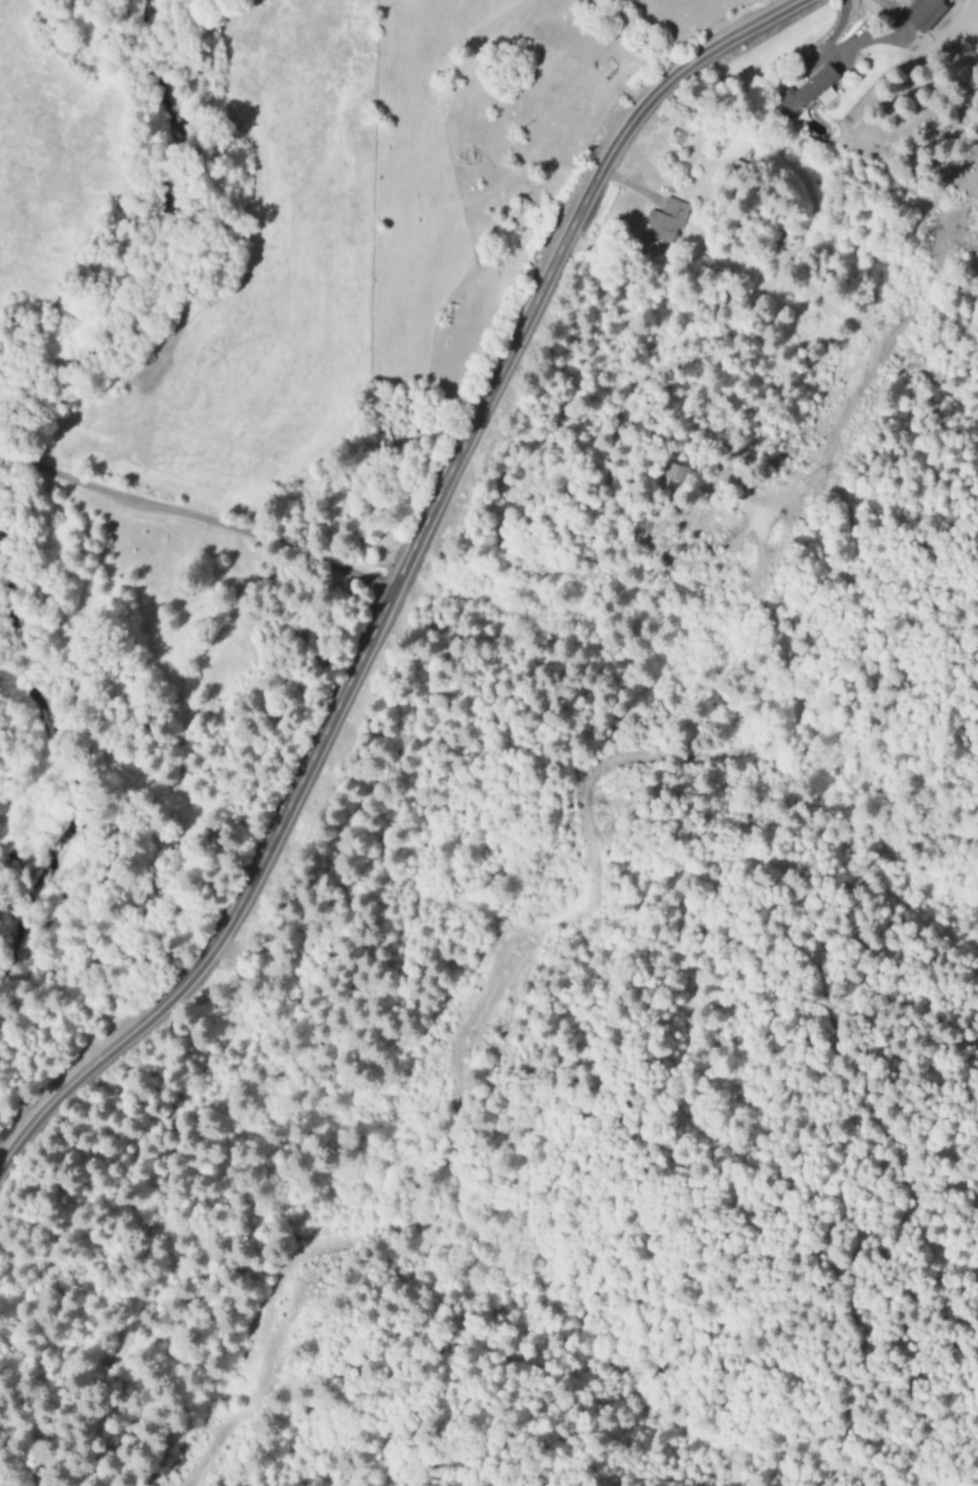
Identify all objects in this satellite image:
building: (920, 13)
building: (805, 93)
building: (664, 221)
road: (10, 458)
power tower: (792, 477)
road: (207, 521)
road: (397, 575)
power tower: (600, 794)
power tower: (299, 1282)

